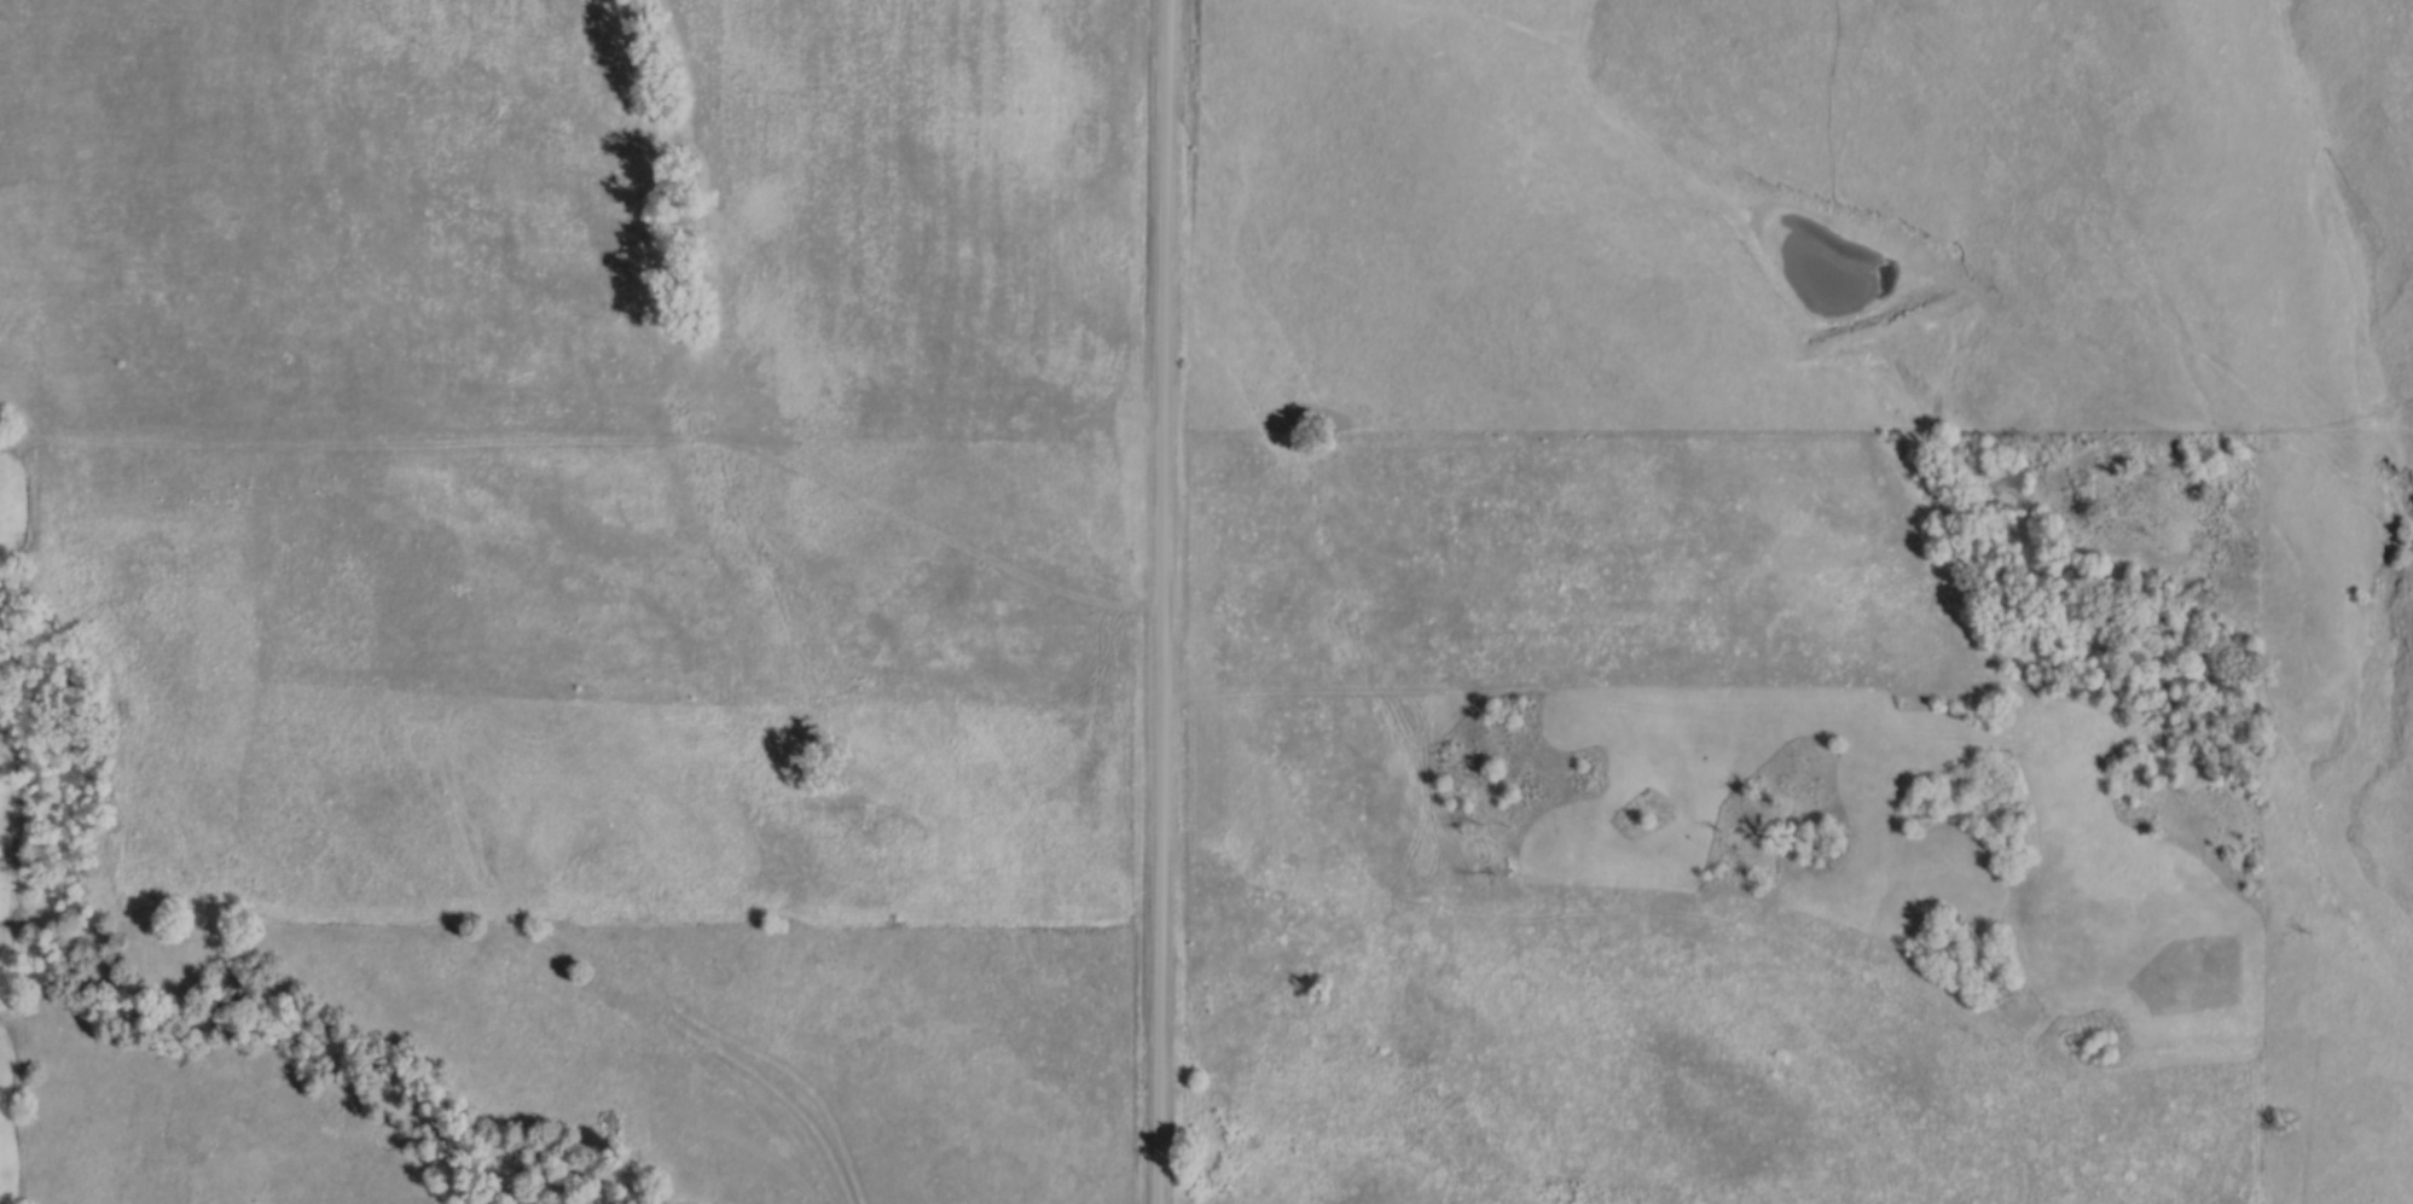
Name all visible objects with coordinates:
building: (350, 536)
road: (1162, 601)
building: (874, 621)

